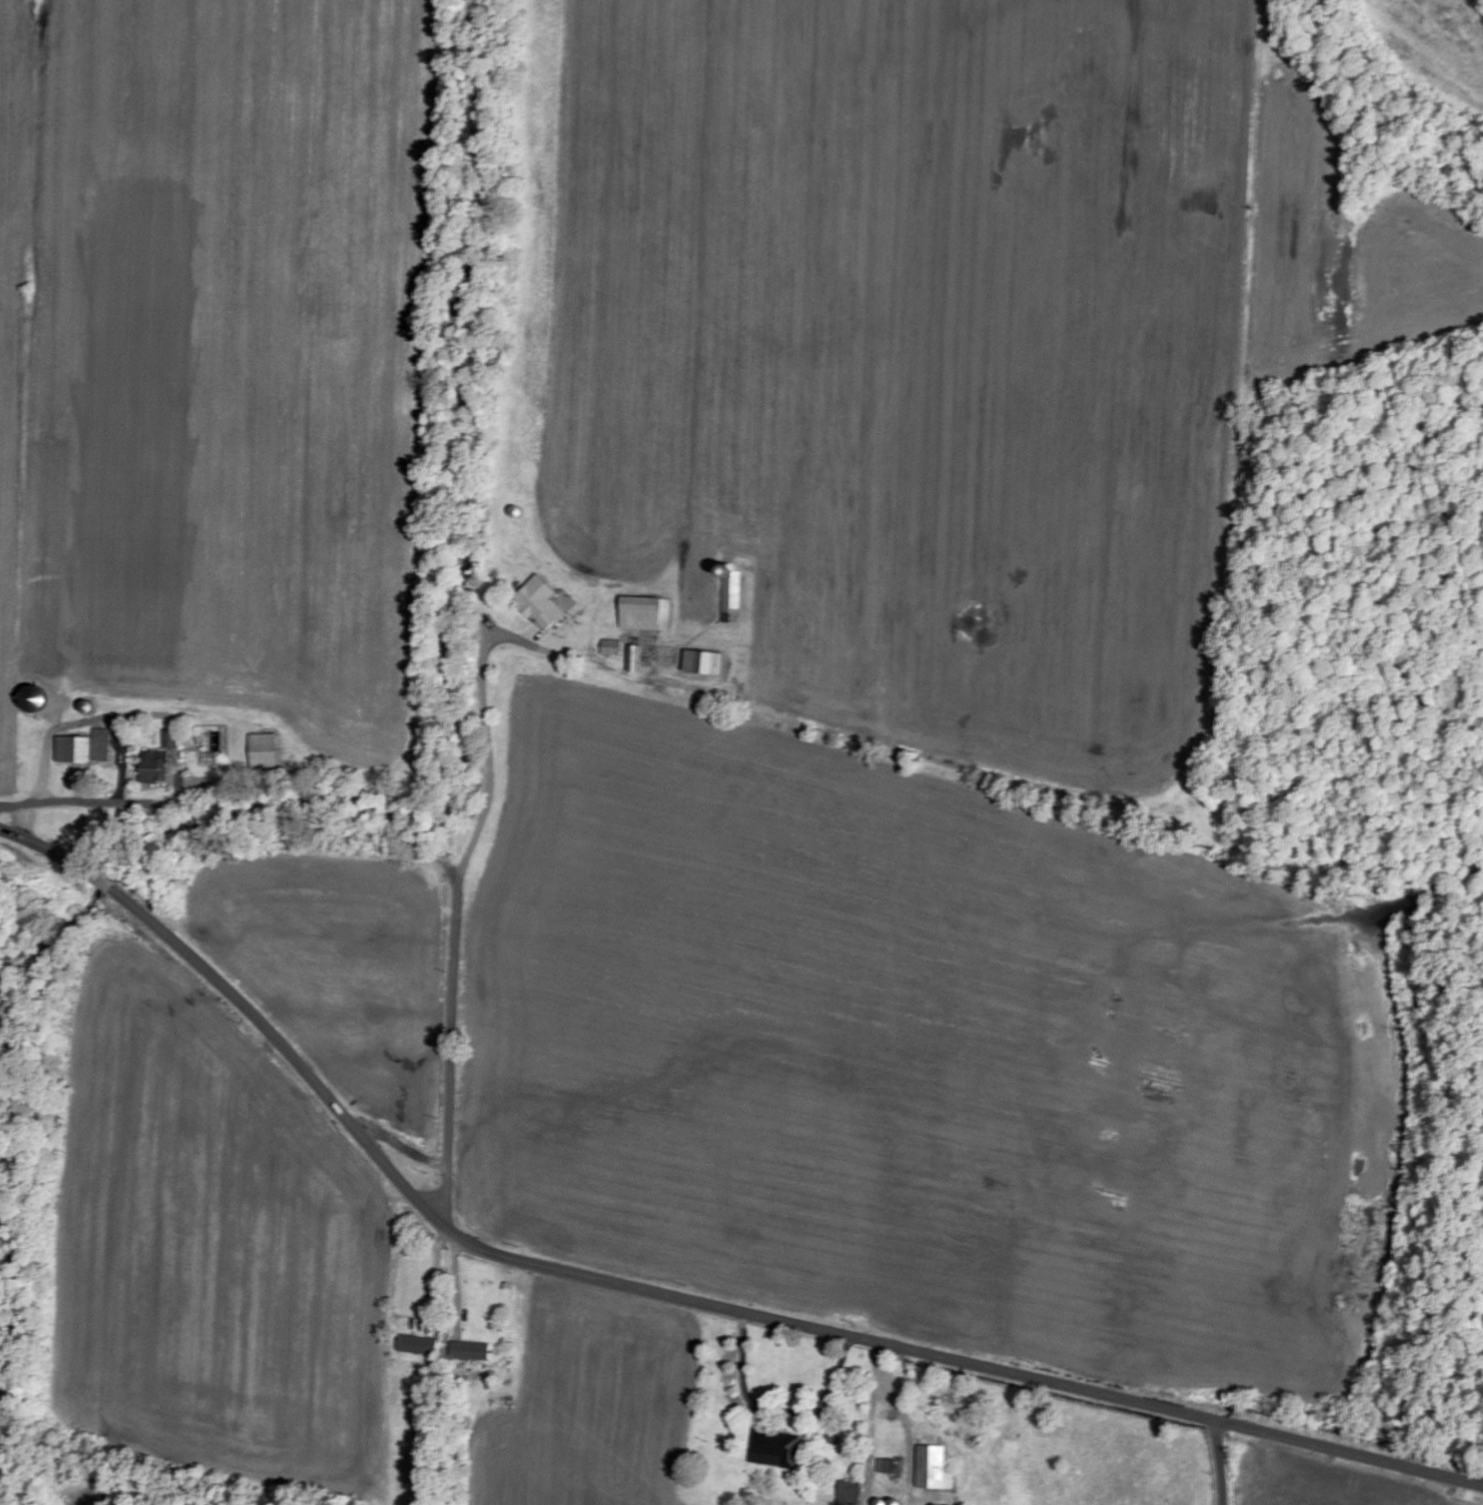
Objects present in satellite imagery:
building: (732, 599)
building: (544, 603)
building: (646, 614)
building: (612, 648)
building: (636, 659)
building: (705, 663)
building: (102, 746)
building: (73, 750)
building: (265, 751)
building: (160, 761)
road: (461, 1051)
road: (667, 1294)
building: (417, 1346)
building: (471, 1352)
building: (776, 1450)
road: (1220, 1462)
building: (890, 1467)
building: (934, 1470)
building: (851, 1494)

